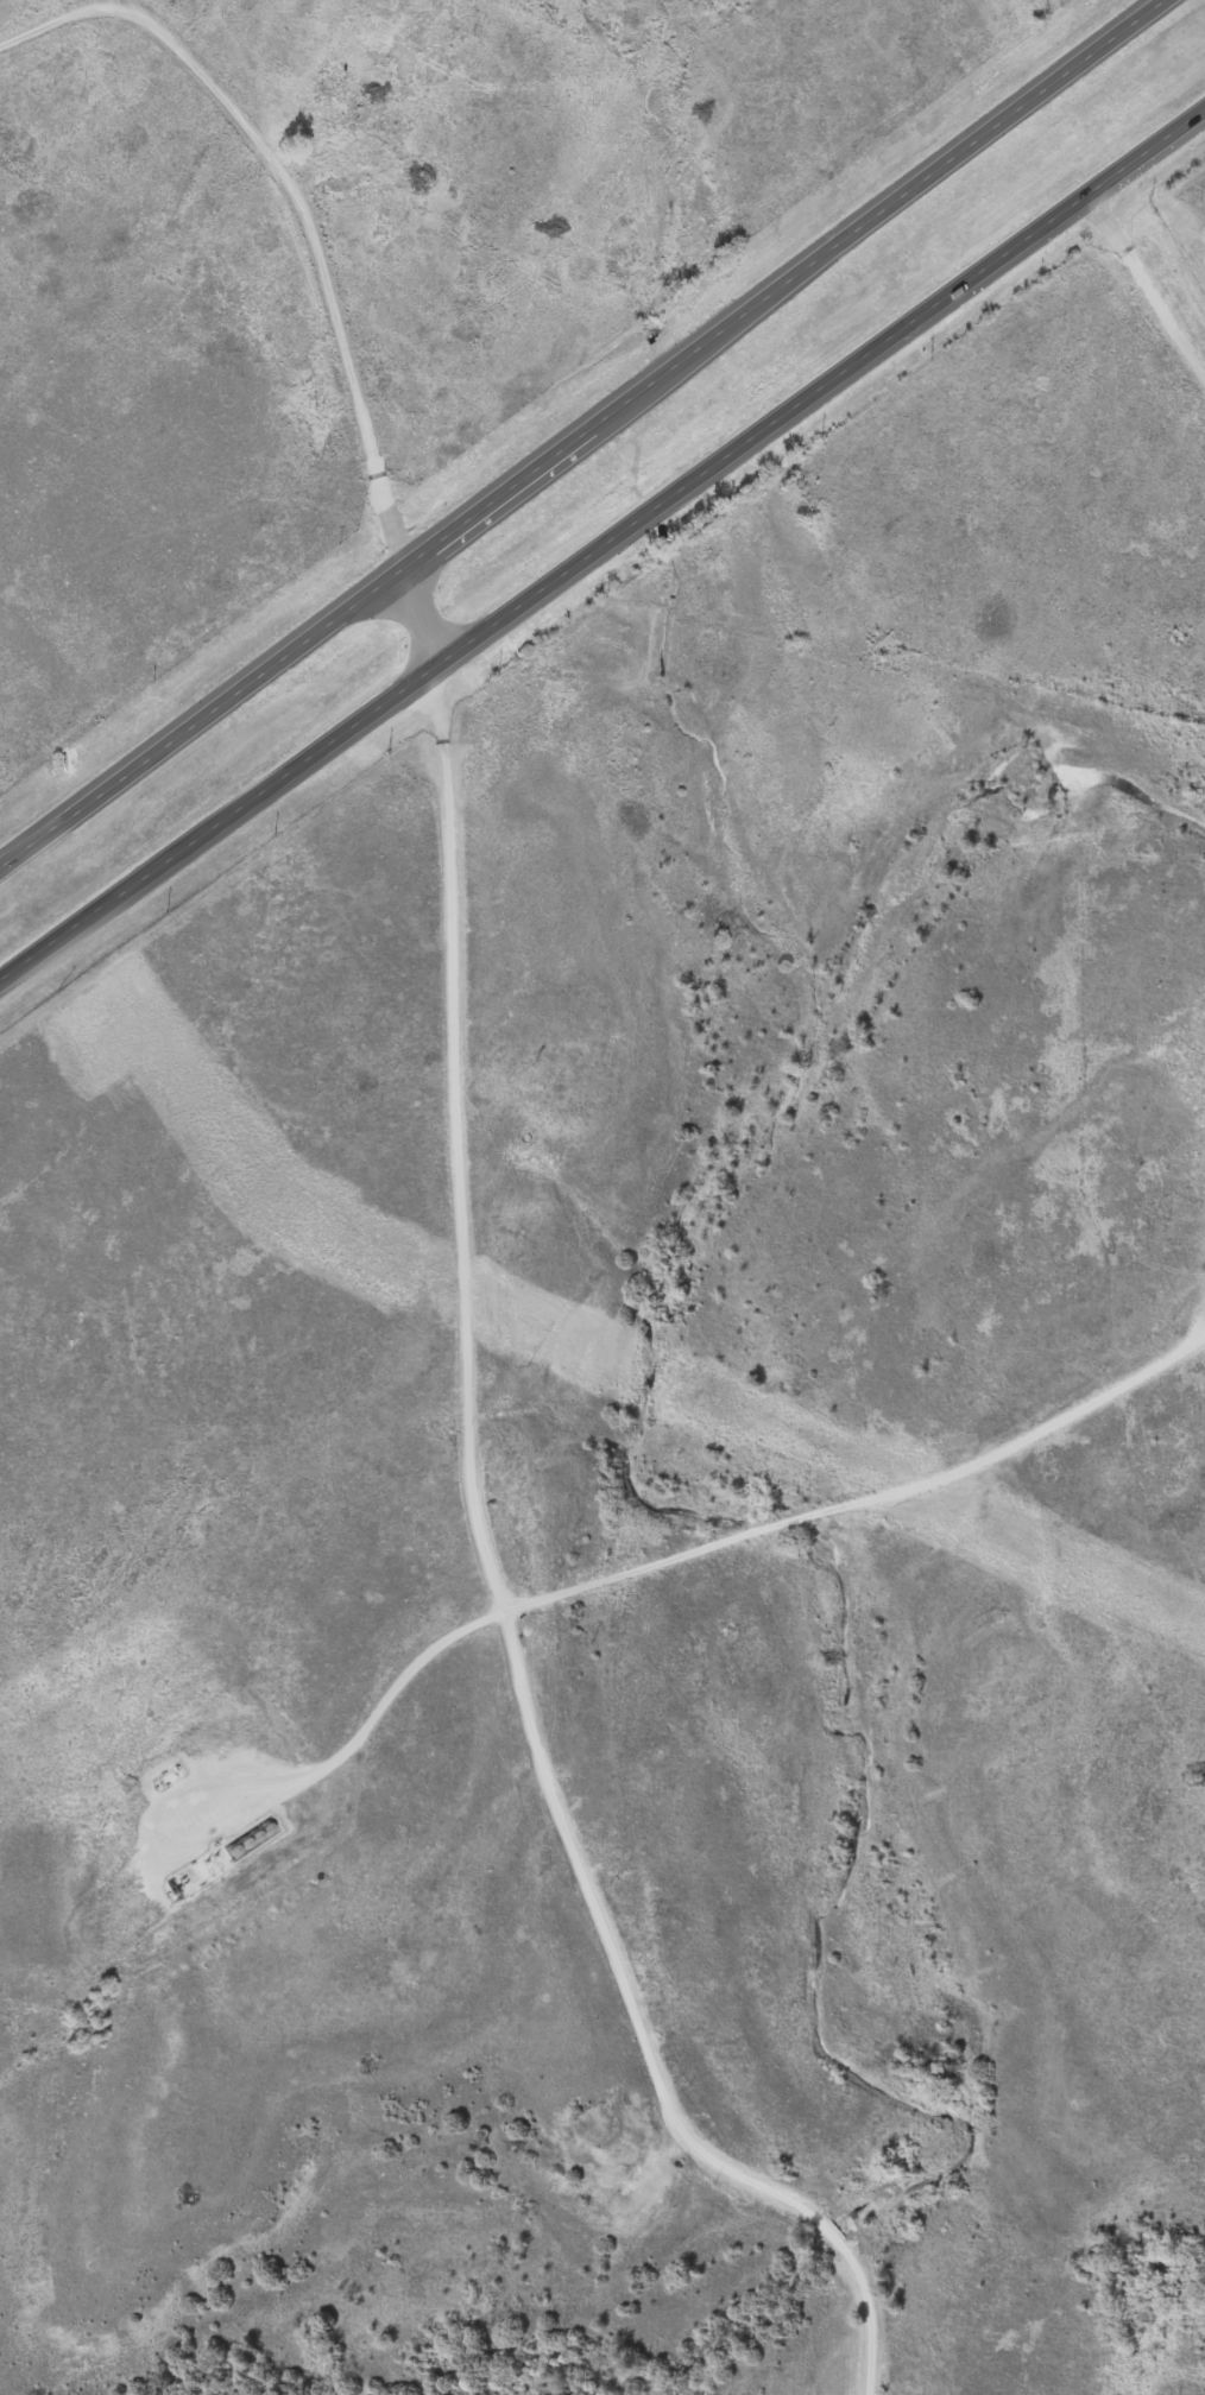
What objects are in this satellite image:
road: (292, 194)
road: (1143, 291)
road: (581, 431)
road: (601, 542)
road: (414, 618)
road: (772, 1527)
road: (494, 1591)
road: (90, 1961)

